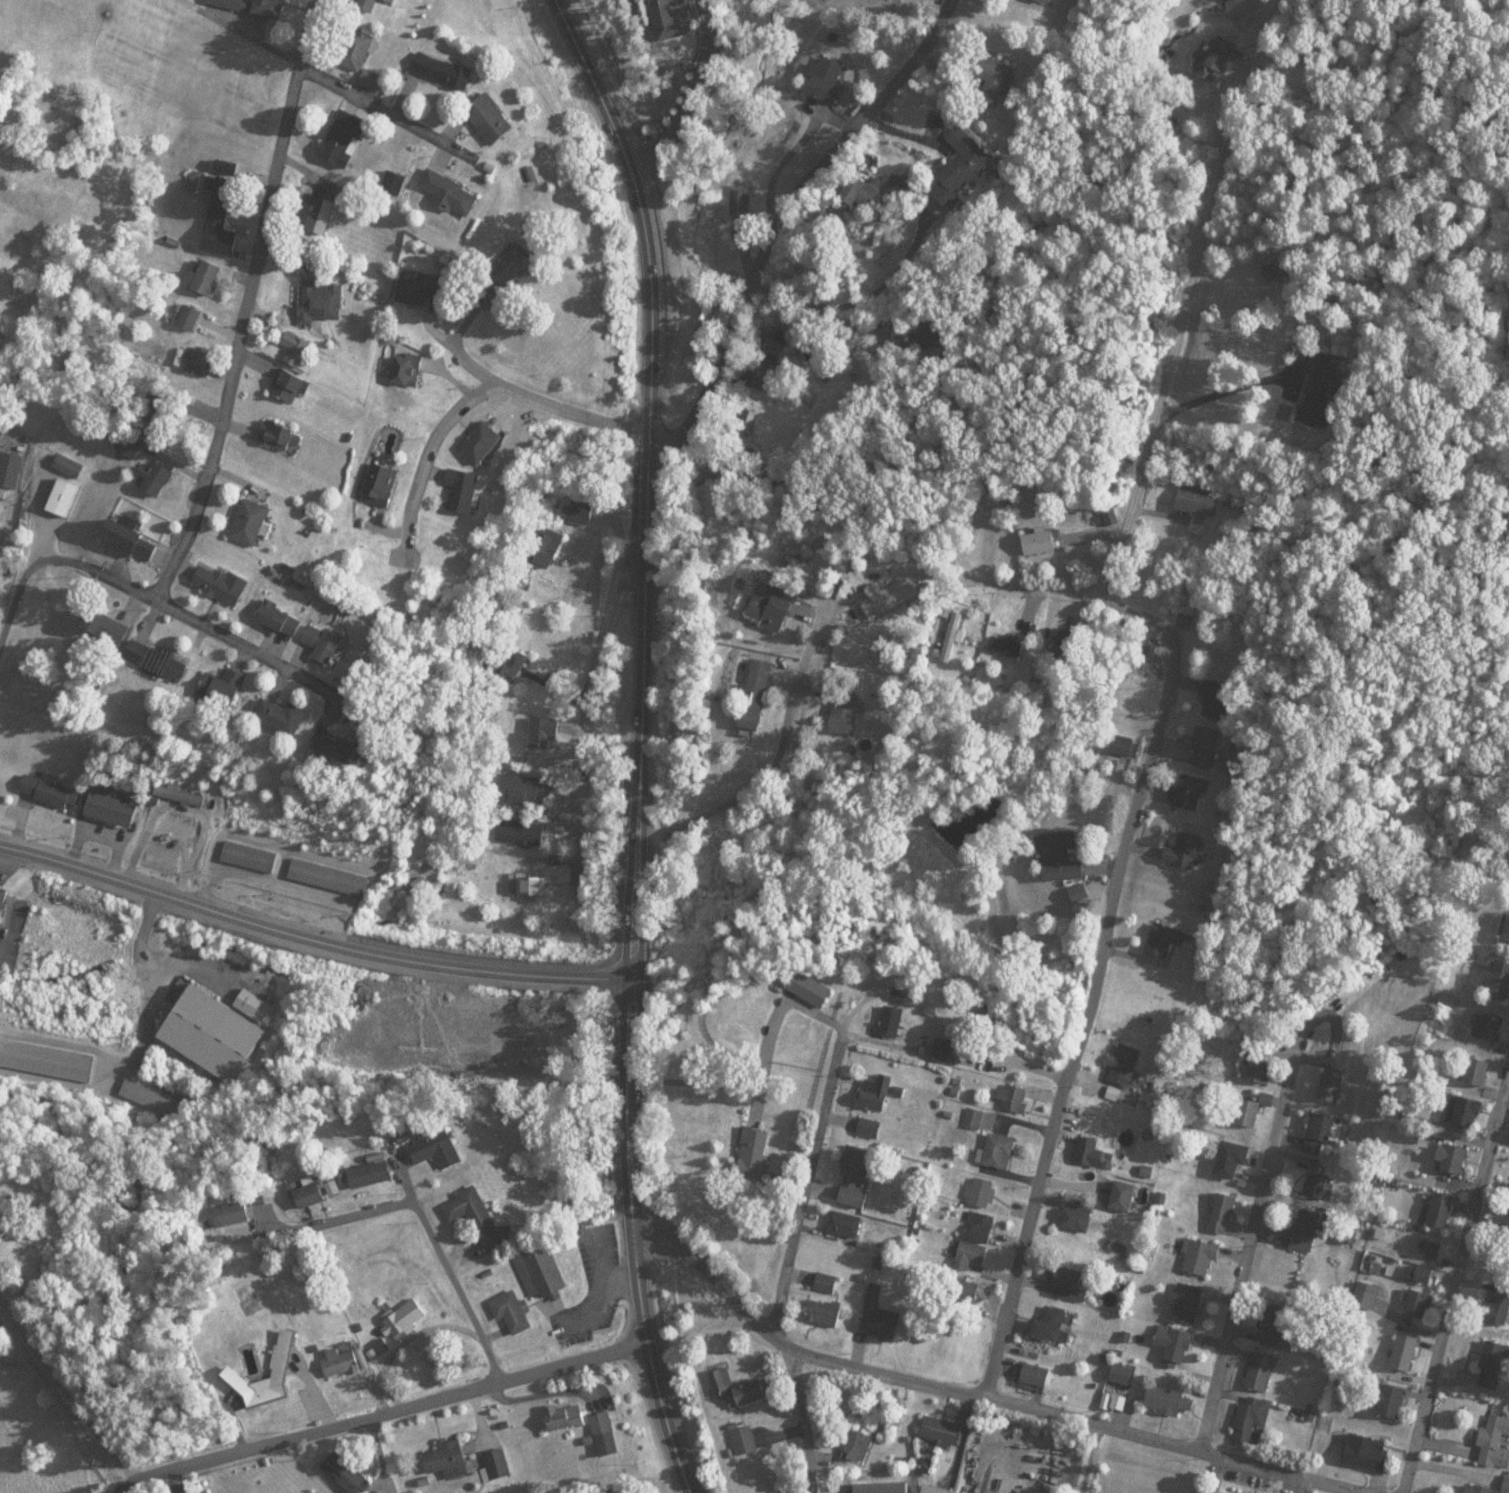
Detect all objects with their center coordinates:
road: (691, 92)
road: (385, 105)
road: (769, 217)
road: (244, 299)
road: (1169, 375)
road: (541, 401)
road: (424, 458)
road: (62, 553)
road: (252, 648)
road: (584, 706)
road: (641, 742)
road: (766, 769)
road: (1109, 916)
road: (311, 934)
road: (150, 993)
road: (806, 1183)
road: (365, 1215)
road: (1248, 1239)
road: (442, 1257)
road: (1453, 1275)
road: (769, 1327)
road: (64, 1386)
road: (374, 1407)
road: (1078, 1419)
road: (1303, 1486)

